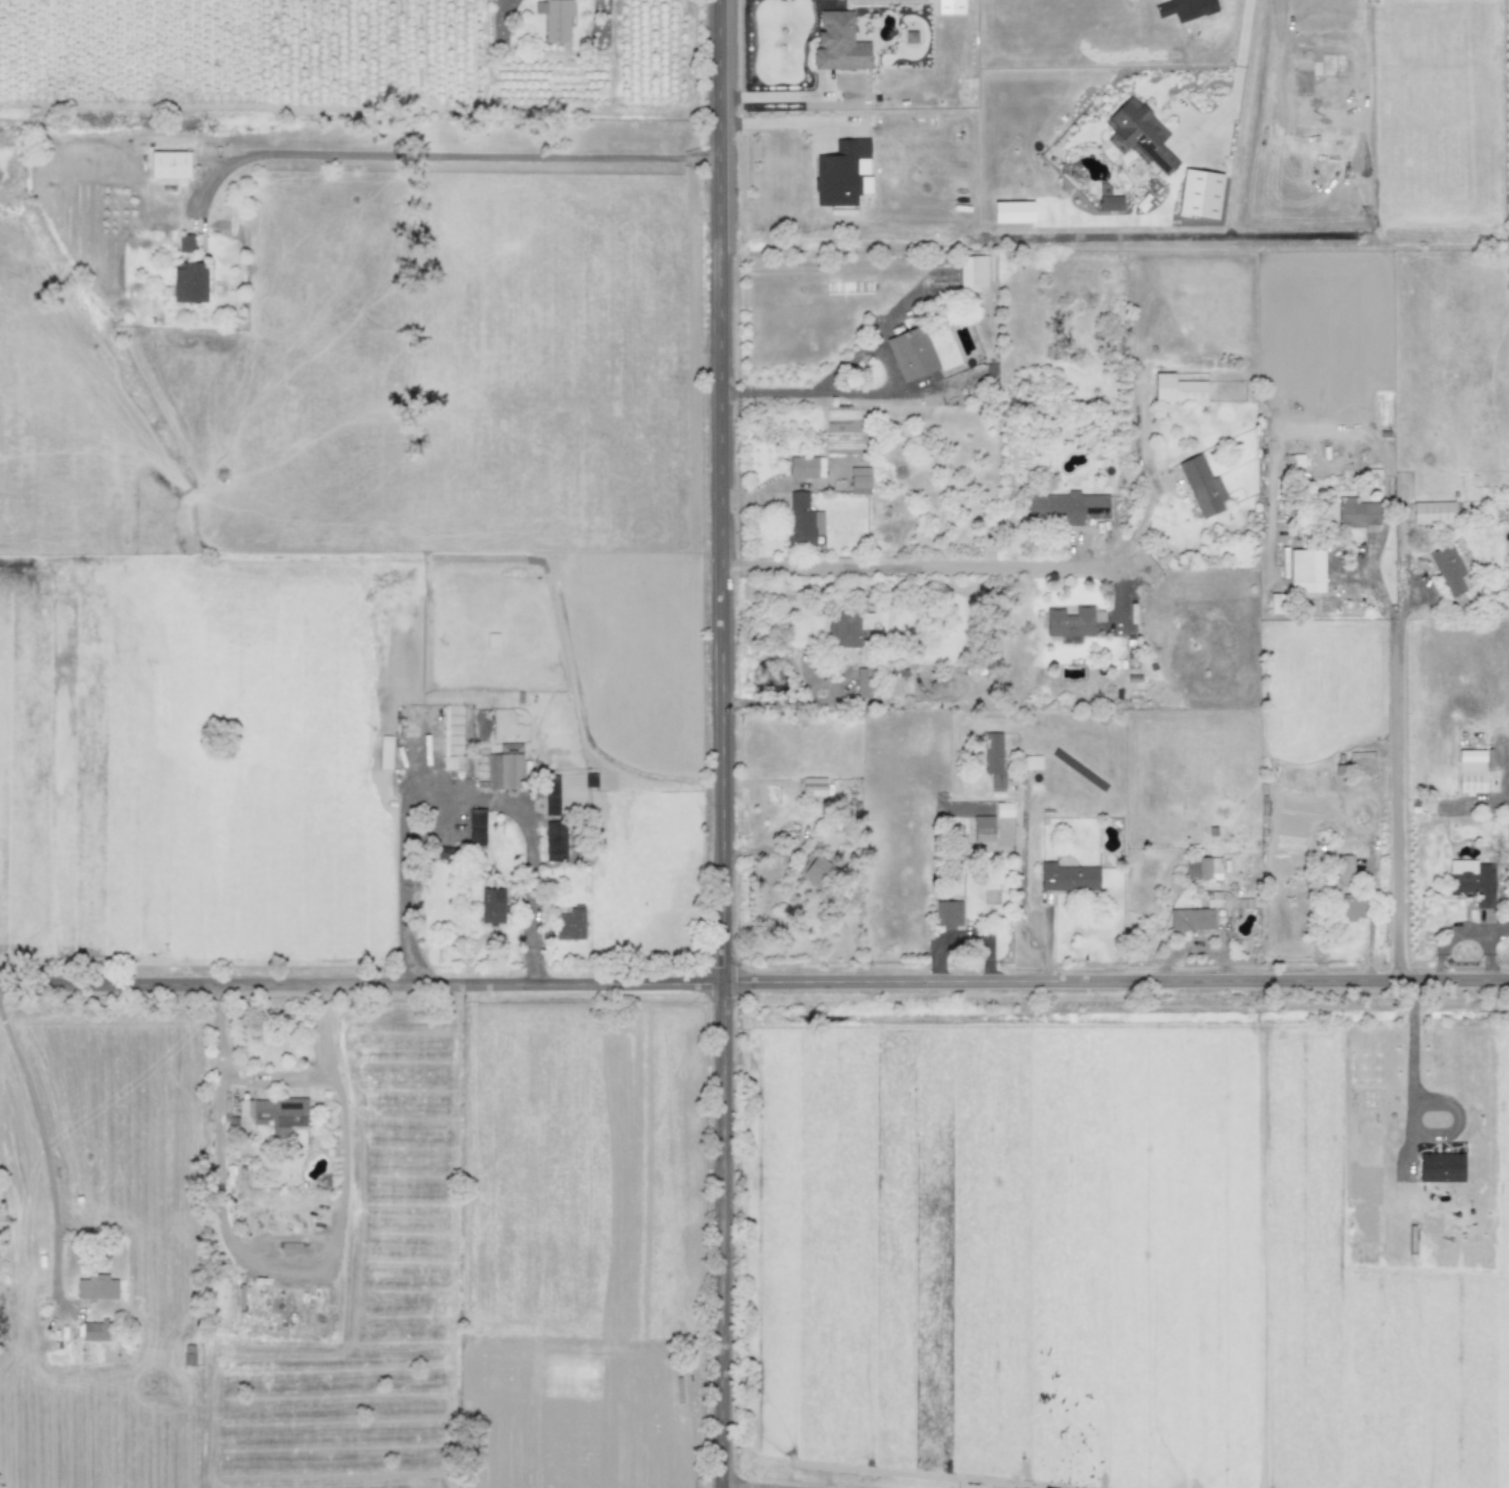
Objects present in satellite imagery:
building: (1185, 8)
building: (555, 18)
building: (839, 42)
road: (1236, 79)
road: (775, 94)
road: (777, 121)
building: (1142, 133)
road: (449, 154)
building: (170, 164)
building: (843, 172)
building: (1200, 192)
building: (1110, 202)
building: (187, 242)
building: (973, 272)
building: (190, 281)
building: (912, 352)
building: (1178, 388)
road: (867, 392)
building: (805, 465)
building: (860, 480)
building: (1203, 485)
building: (1069, 506)
building: (1358, 512)
building: (1433, 512)
building: (803, 520)
road: (924, 566)
building: (1449, 568)
building: (1307, 569)
building: (1070, 621)
building: (847, 627)
building: (493, 638)
building: (865, 682)
road: (786, 701)
road: (723, 744)
building: (385, 751)
building: (994, 757)
building: (449, 761)
building: (1033, 761)
building: (1362, 762)
road: (1398, 762)
building: (505, 766)
building: (1471, 770)
building: (814, 785)
building: (552, 794)
building: (1003, 808)
building: (477, 825)
crop: (197, 832)
building: (991, 832)
road: (530, 837)
building: (1204, 867)
building: (814, 869)
building: (1068, 876)
building: (1472, 880)
building: (1348, 890)
building: (492, 904)
building: (948, 913)
building: (1191, 918)
building: (571, 922)
road: (1369, 922)
road: (754, 980)
road: (1412, 1053)
road: (273, 1074)
building: (275, 1112)
road: (43, 1135)
building: (1441, 1166)
road: (282, 1249)
building: (97, 1286)
building: (96, 1330)
road: (759, 1485)

